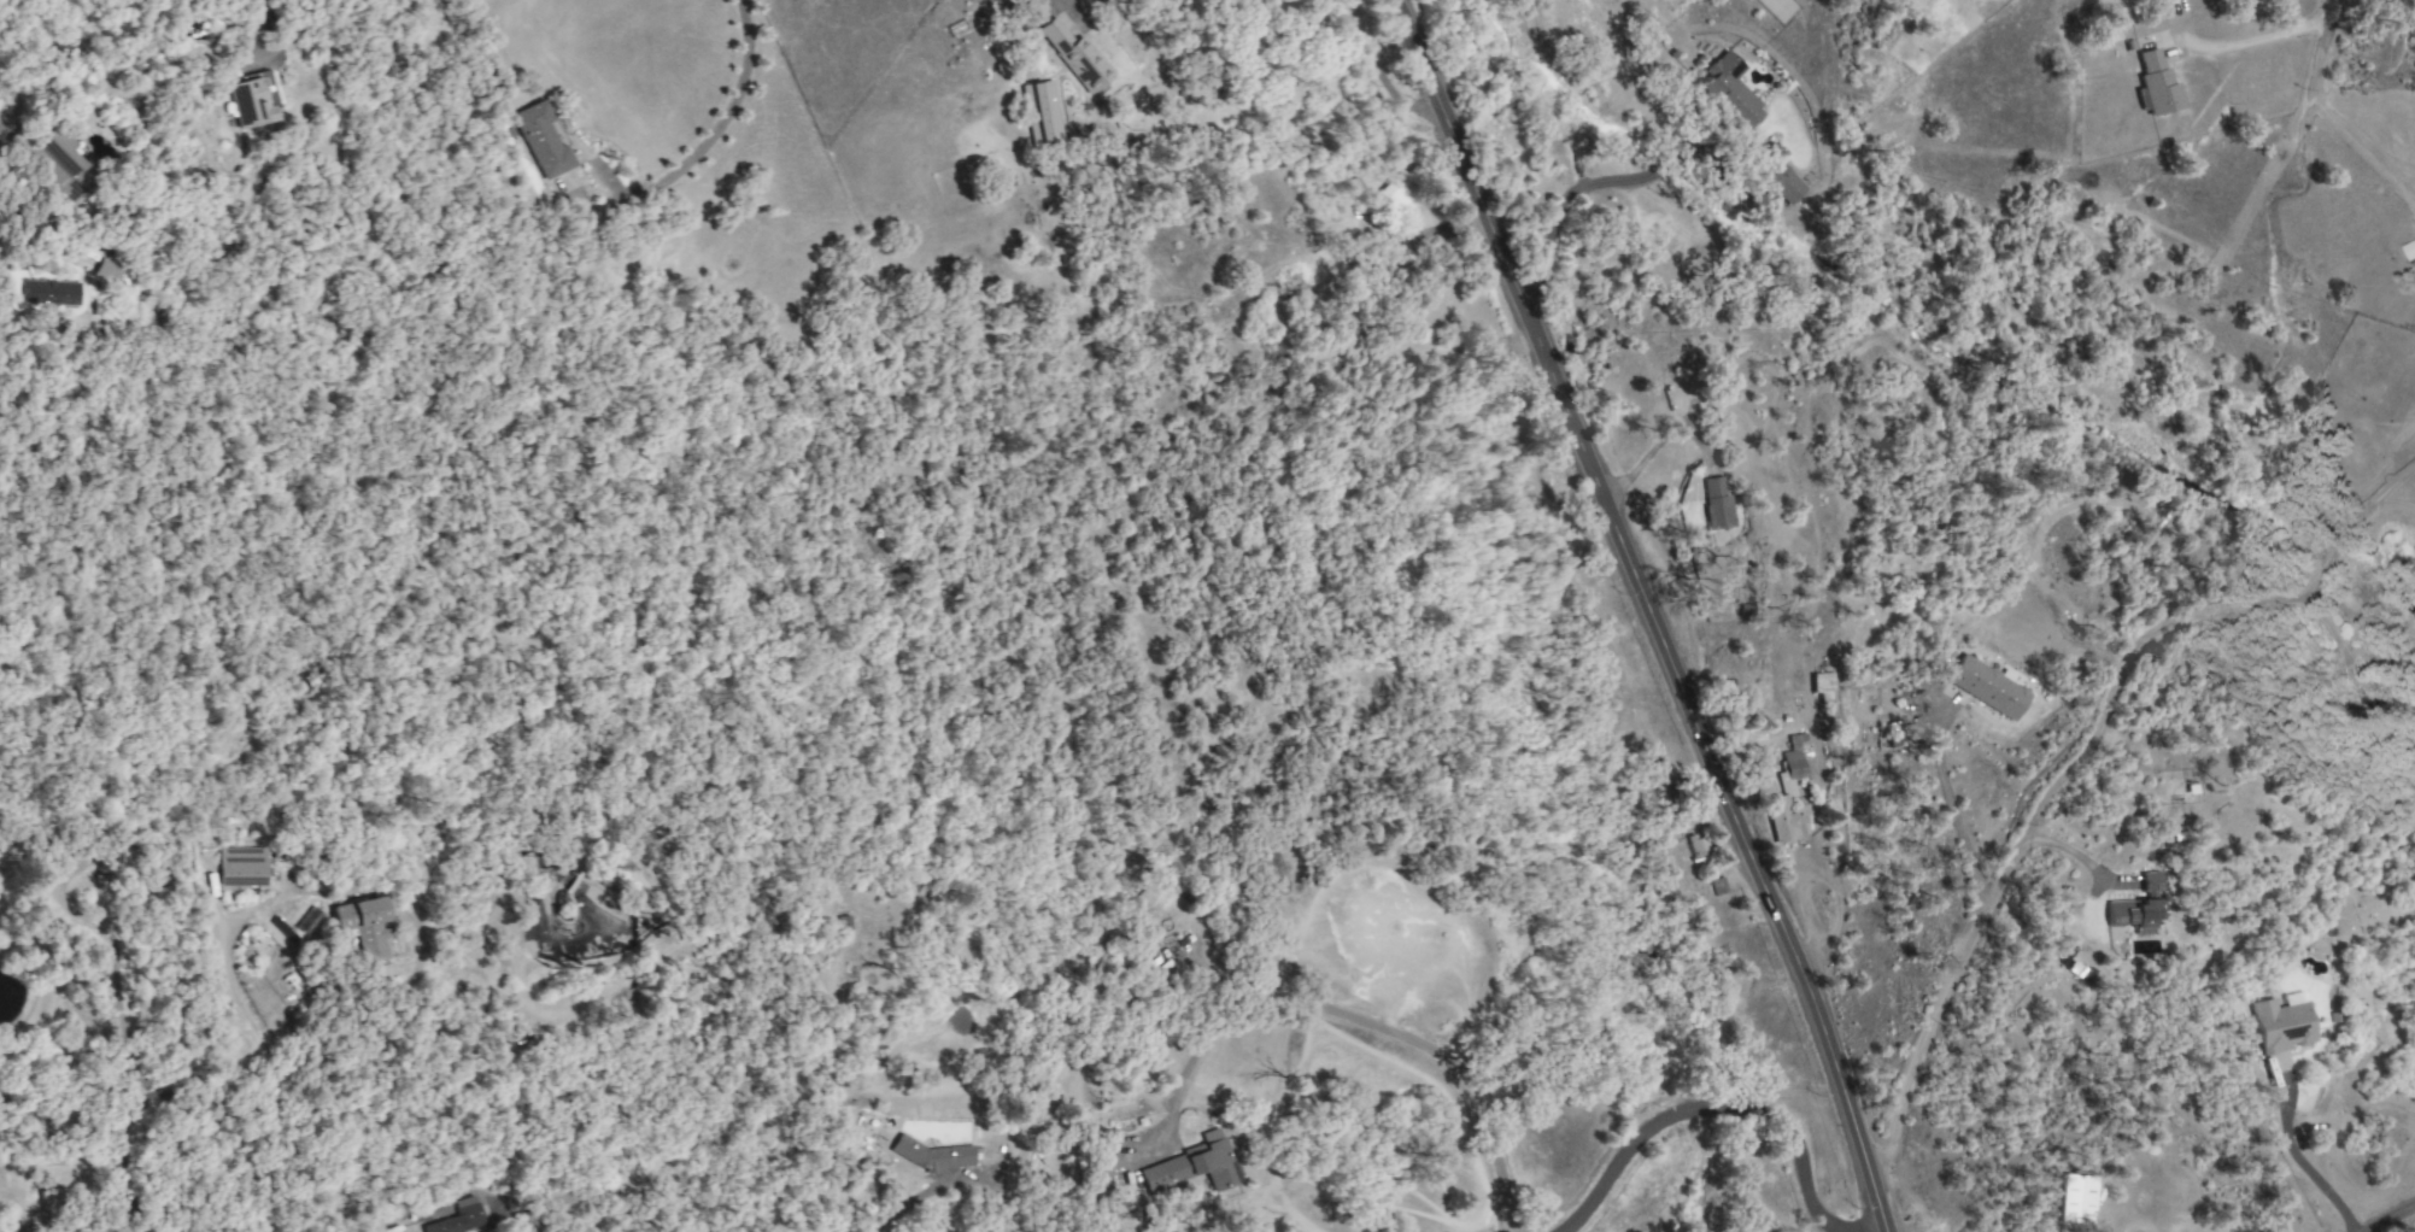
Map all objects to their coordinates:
road: (262, 23)
building: (956, 29)
road: (2251, 41)
building: (1074, 55)
building: (2156, 84)
building: (1728, 92)
building: (251, 99)
road: (2337, 108)
building: (1039, 112)
building: (1, 127)
road: (709, 134)
building: (540, 140)
building: (60, 164)
building: (1776, 180)
road: (1582, 187)
building: (1401, 193)
road: (1441, 228)
building: (49, 293)
road: (1657, 440)
building: (1716, 503)
road: (2396, 504)
road: (1648, 614)
building: (2360, 679)
building: (1821, 682)
building: (1986, 687)
building: (1792, 757)
road: (2080, 758)
road: (1950, 811)
building: (1783, 820)
building: (1694, 845)
building: (241, 867)
road: (1828, 876)
building: (1716, 886)
building: (2138, 907)
building: (361, 925)
road: (228, 978)
road: (1364, 1020)
building: (2281, 1023)
road: (158, 1103)
road: (1707, 1113)
road: (64, 1124)
building: (931, 1155)
building: (1192, 1166)
road: (2303, 1167)
building: (2075, 1198)
road: (907, 1202)
road: (2391, 1216)
building: (457, 1218)

